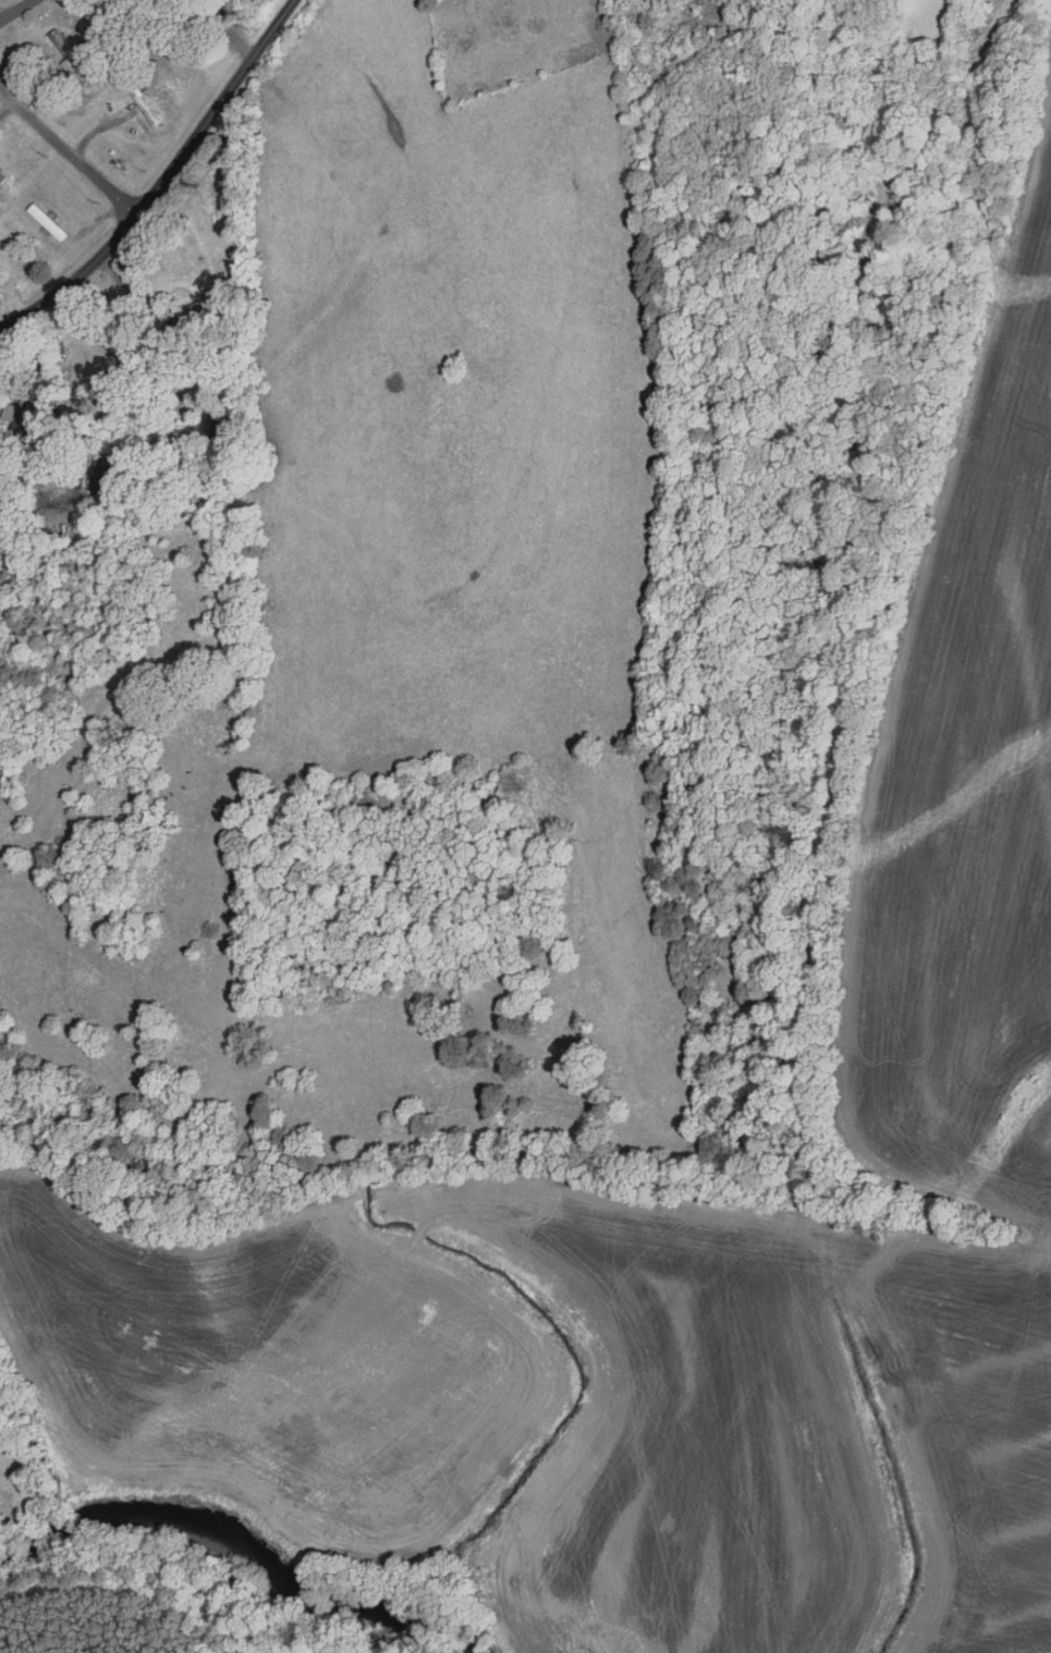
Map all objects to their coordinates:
road: (17, 11)
building: (138, 105)
road: (68, 154)
road: (163, 181)
building: (41, 223)
building: (14, 420)
building: (200, 430)
building: (94, 479)

